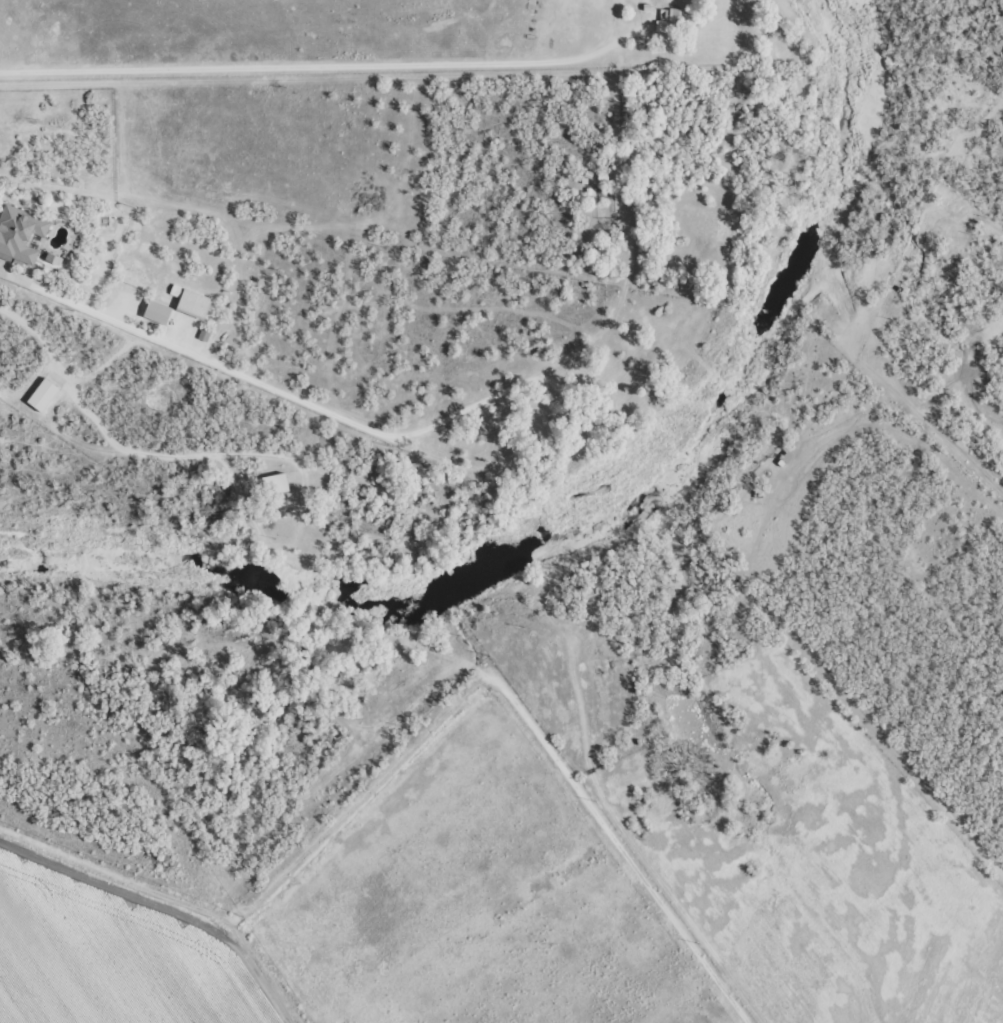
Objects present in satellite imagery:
building: (669, 19)
building: (20, 235)
building: (53, 259)
building: (194, 304)
building: (157, 312)
building: (204, 335)
building: (46, 391)
building: (281, 483)
road: (456, 720)

